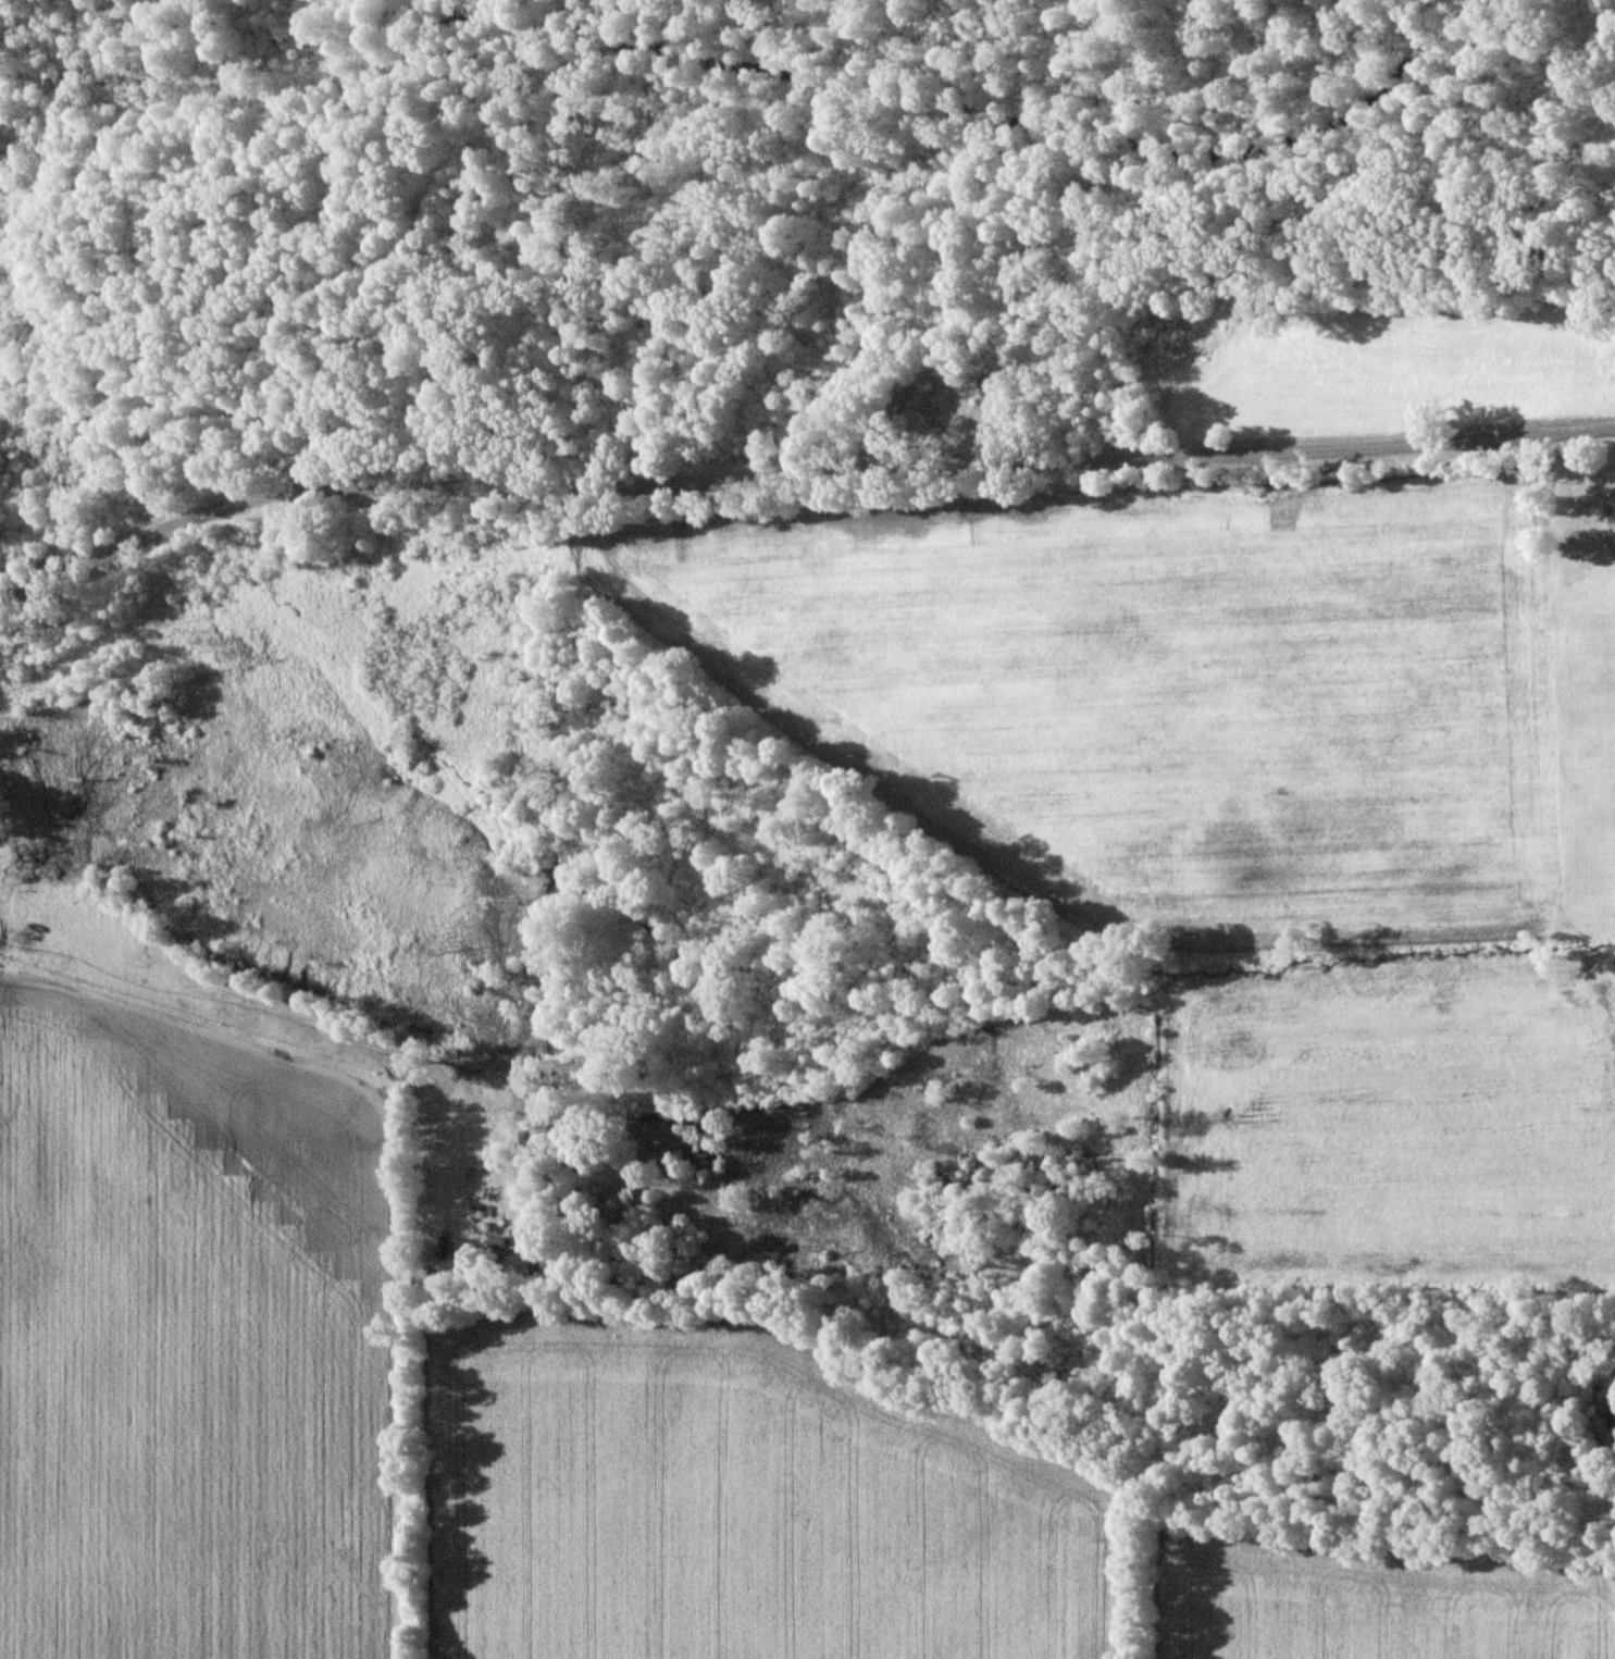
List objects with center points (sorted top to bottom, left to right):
building: (1612, 368)
road: (797, 475)
building: (1612, 508)

